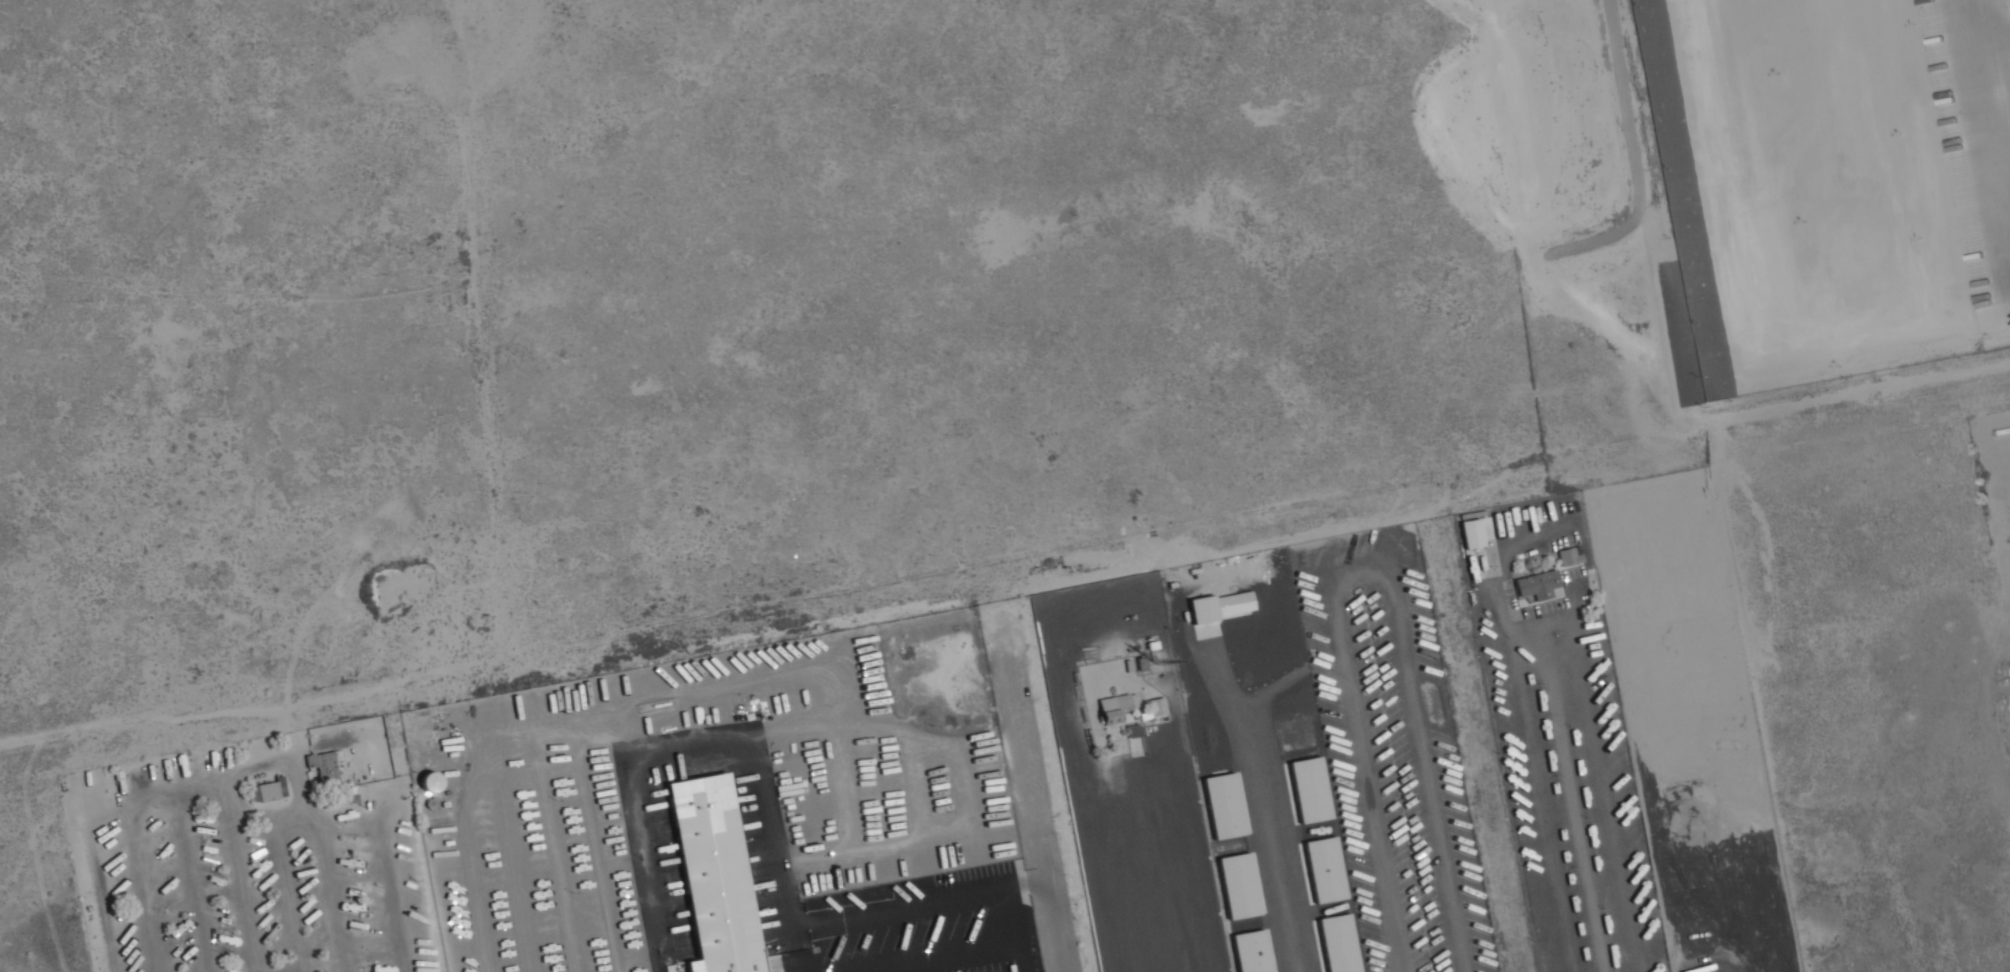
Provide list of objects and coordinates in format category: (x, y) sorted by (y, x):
building: (2009, 1)
building: (1471, 536)
building: (1568, 558)
road: (2005, 578)
building: (1537, 587)
building: (1116, 702)
building: (1157, 710)
building: (1108, 717)
parking lot: (1564, 740)
building: (1134, 741)
parking lot: (1397, 753)
building: (323, 768)
building: (428, 781)
storage tank: (428, 781)
road: (1029, 786)
building: (267, 791)
building: (1310, 791)
road: (760, 798)
building: (431, 804)
storage tank: (431, 804)
road: (1571, 804)
building: (1225, 808)
road: (1206, 853)
building: (711, 865)
building: (1324, 872)
building: (1179, 879)
building: (1105, 888)
building: (1238, 888)
building: (1336, 944)
building: (1250, 952)
building: (728, 963)

